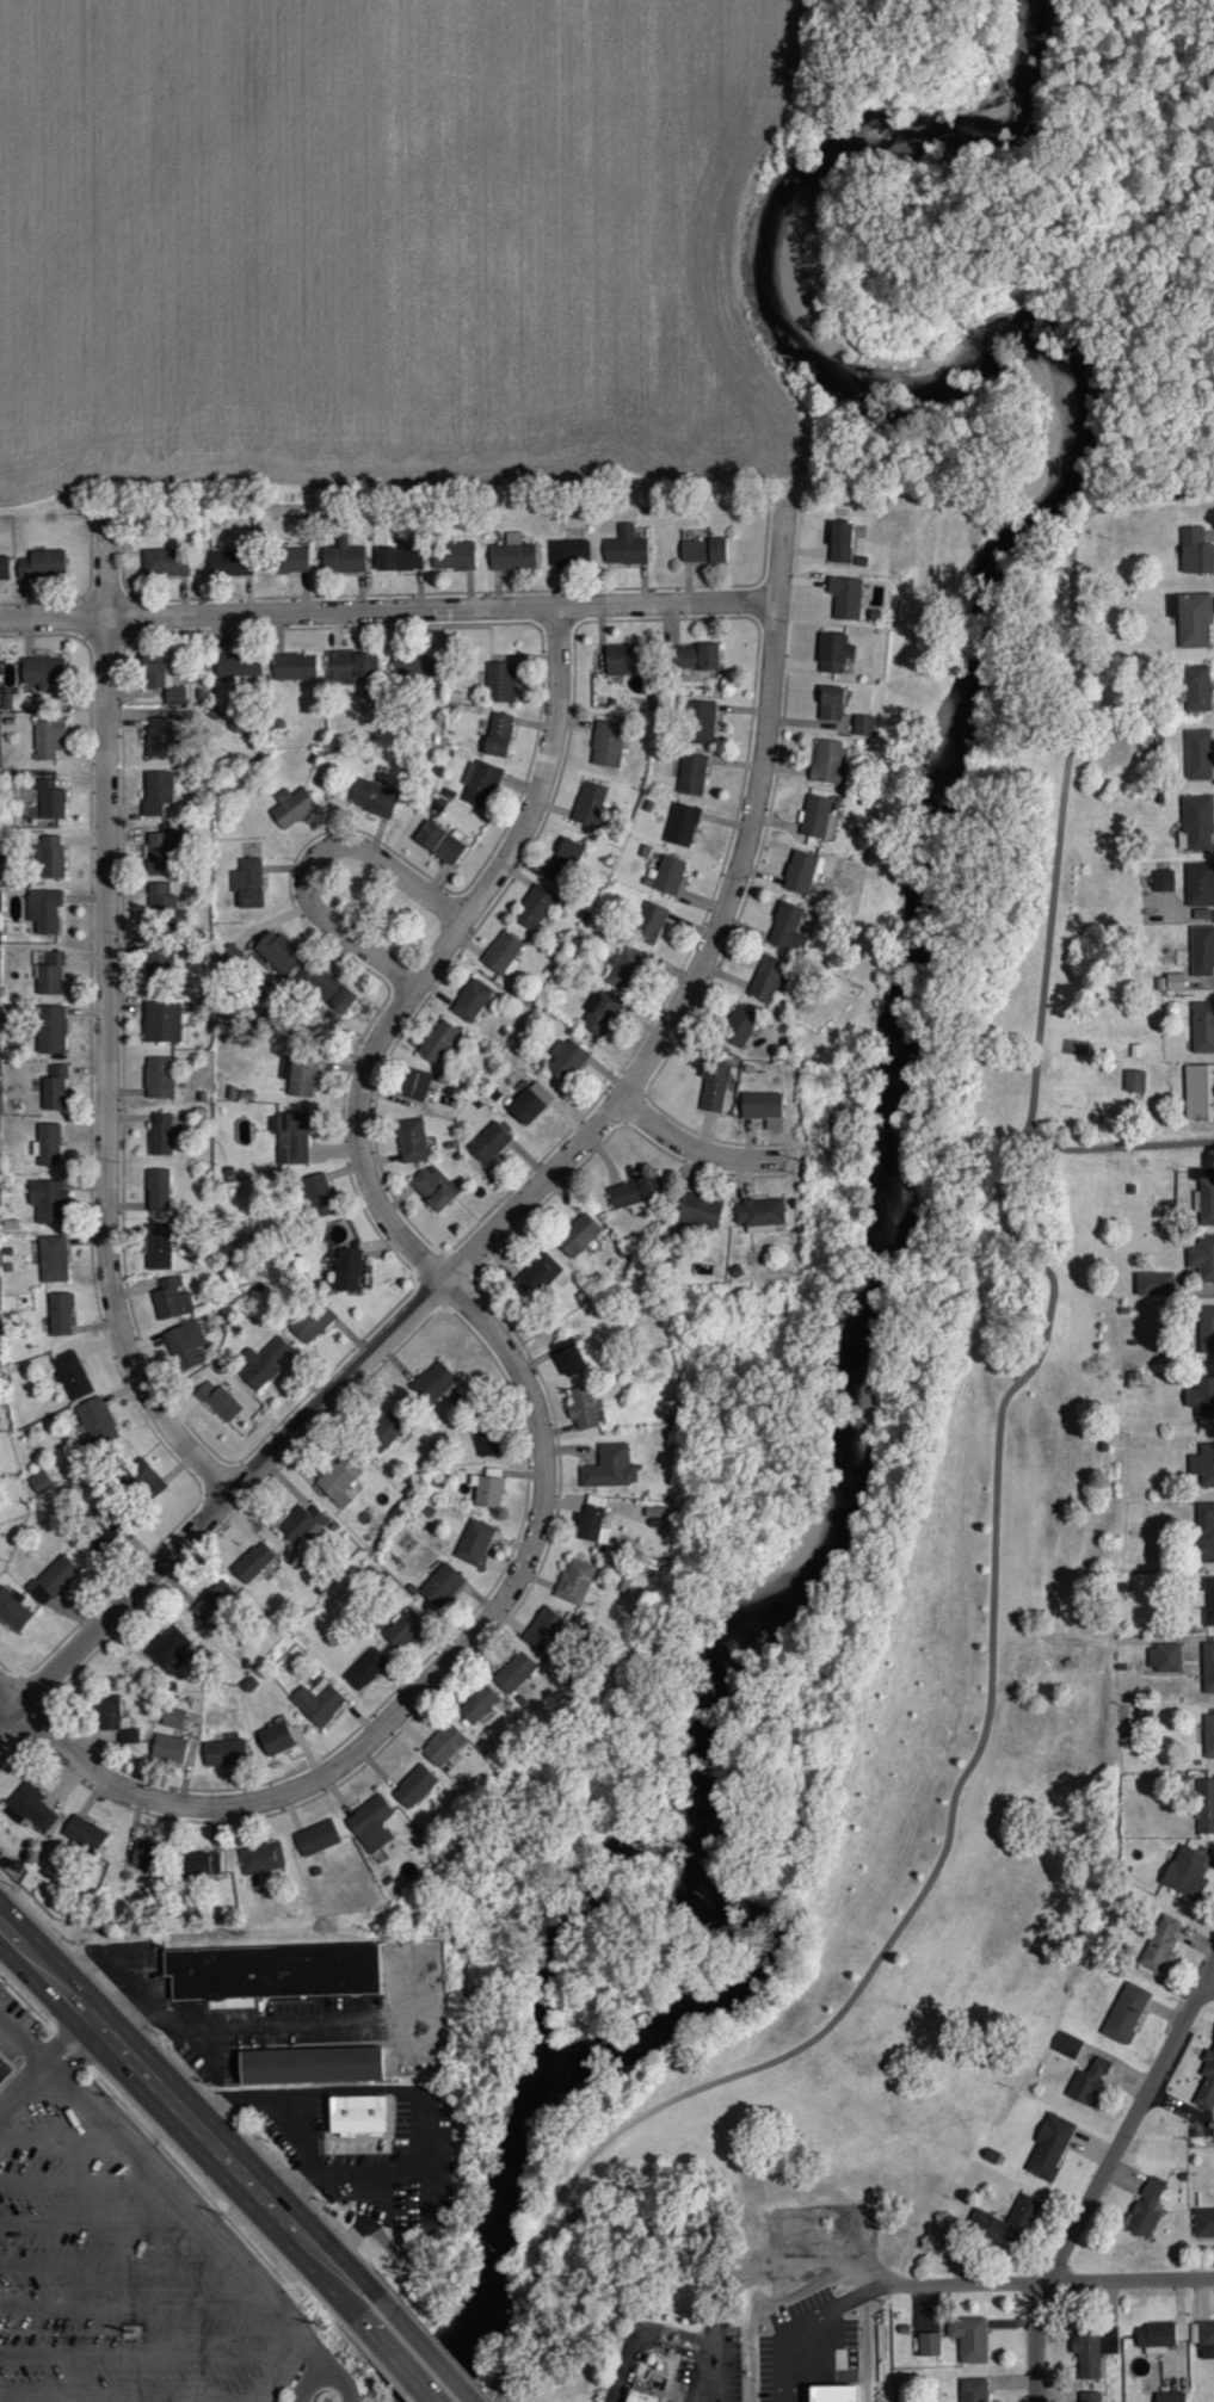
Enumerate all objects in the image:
road: (1031, 203)
road: (1003, 242)
road: (1030, 264)
road: (1029, 296)
road: (1153, 345)
road: (1177, 388)
building: (840, 542)
building: (624, 548)
building: (710, 550)
building: (1195, 551)
building: (568, 552)
building: (512, 554)
building: (454, 555)
building: (343, 557)
building: (399, 558)
building: (285, 560)
building: (165, 562)
building: (41, 563)
building: (229, 563)
building: (4, 567)
building: (845, 598)
road: (389, 609)
building: (1194, 620)
building: (833, 653)
building: (694, 657)
building: (622, 660)
building: (236, 667)
building: (294, 667)
building: (349, 667)
building: (43, 672)
building: (161, 678)
building: (501, 683)
building: (1196, 689)
building: (831, 703)
building: (701, 722)
building: (863, 725)
building: (498, 734)
building: (159, 737)
building: (48, 739)
building: (606, 743)
building: (1198, 755)
building: (827, 762)
building: (691, 774)
building: (479, 783)
building: (156, 791)
building: (374, 797)
building: (50, 799)
building: (591, 803)
building: (291, 808)
building: (818, 817)
building: (1196, 823)
building: (682, 825)
building: (439, 842)
building: (160, 854)
building: (48, 858)
road: (314, 858)
building: (563, 863)
building: (800, 872)
building: (668, 875)
building: (1164, 881)
building: (248, 884)
building: (1200, 884)
building: (161, 900)
building: (534, 908)
building: (43, 909)
building: (648, 924)
building: (787, 928)
building: (1202, 951)
building: (277, 955)
building: (504, 955)
building: (229, 957)
building: (164, 962)
building: (624, 968)
building: (50, 975)
building: (766, 978)
building: (1170, 983)
building: (332, 992)
building: (472, 1000)
building: (599, 1013)
road: (106, 1014)
building: (162, 1020)
building: (739, 1025)
building: (1202, 1026)
building: (49, 1029)
building: (438, 1041)
building: (565, 1058)
building: (159, 1076)
building: (301, 1076)
building: (1134, 1080)
building: (414, 1083)
building: (54, 1087)
building: (1198, 1089)
building: (711, 1094)
building: (529, 1101)
building: (762, 1106)
river: (895, 1114)
building: (160, 1132)
building: (291, 1136)
building: (411, 1140)
building: (489, 1141)
road: (1119, 1143)
building: (47, 1144)
road: (1140, 1147)
road: (696, 1148)
building: (431, 1186)
building: (158, 1190)
road: (534, 1190)
building: (633, 1191)
building: (1204, 1192)
building: (318, 1194)
building: (47, 1199)
building: (700, 1210)
building: (759, 1214)
building: (577, 1236)
building: (156, 1246)
building: (1202, 1256)
building: (53, 1258)
building: (346, 1270)
building: (537, 1273)
building: (1154, 1283)
building: (171, 1298)
building: (58, 1313)
building: (313, 1321)
building: (1203, 1328)
building: (185, 1344)
road: (510, 1353)
building: (567, 1356)
building: (263, 1363)
building: (72, 1375)
building: (432, 1383)
building: (1201, 1396)
building: (217, 1400)
building: (581, 1408)
building: (95, 1420)
building: (383, 1431)
building: (486, 1441)
building: (1203, 1464)
building: (610, 1466)
building: (142, 1478)
building: (338, 1478)
road: (1000, 1481)
building: (39, 1482)
building: (486, 1490)
building: (592, 1509)
building: (302, 1524)
building: (1204, 1531)
building: (474, 1542)
building: (252, 1562)
building: (53, 1579)
building: (574, 1580)
building: (440, 1585)
building: (1208, 1600)
building: (212, 1601)
building: (13, 1608)
building: (403, 1626)
building: (543, 1628)
building: (167, 1650)
building: (1164, 1657)
building: (1208, 1667)
building: (365, 1668)
building: (513, 1672)
road: (11, 1694)
building: (318, 1702)
building: (477, 1703)
building: (107, 1712)
building: (172, 1717)
building: (1208, 1735)
building: (128, 1736)
building: (275, 1739)
building: (444, 1745)
building: (168, 1748)
building: (223, 1753)
building: (414, 1786)
building: (1206, 1805)
building: (30, 1807)
building: (370, 1823)
building: (84, 1833)
building: (316, 1838)
building: (143, 1854)
building: (260, 1858)
building: (201, 1864)
building: (1185, 1872)
river: (557, 1927)
building: (1159, 1945)
building: (271, 1970)
road: (1208, 1990)
building: (1124, 2013)
road: (60, 2042)
building: (1067, 2045)
road: (79, 2055)
building: (310, 2064)
road: (133, 2066)
building: (5, 2070)
building: (1207, 2081)
building: (1089, 2082)
road: (26, 2094)
road: (265, 2105)
building: (357, 2112)
road: (56, 2135)
road: (173, 2147)
building: (1049, 2147)
road: (374, 2162)
road: (76, 2179)
road: (1103, 2179)
road: (177, 2204)
building: (1145, 2208)
building: (1021, 2215)
road: (97, 2221)
building: (1203, 2223)
road: (326, 2243)
parking lot: (111, 2264)
road: (117, 2265)
road: (307, 2265)
road: (1037, 2284)
road: (136, 2307)
road: (794, 2326)
road: (642, 2334)
building: (1156, 2336)
building: (969, 2338)
building: (1206, 2339)
building: (928, 2345)
road: (423, 2348)
building: (1093, 2348)
road: (147, 2352)
road: (396, 2360)
road: (708, 2364)
road: (331, 2365)
road: (378, 2365)
road: (719, 2365)
road: (309, 2379)
building: (973, 2390)
building: (832, 2394)
road: (134, 2396)
building: (641, 2396)
building: (1090, 2397)
building: (1170, 2397)

